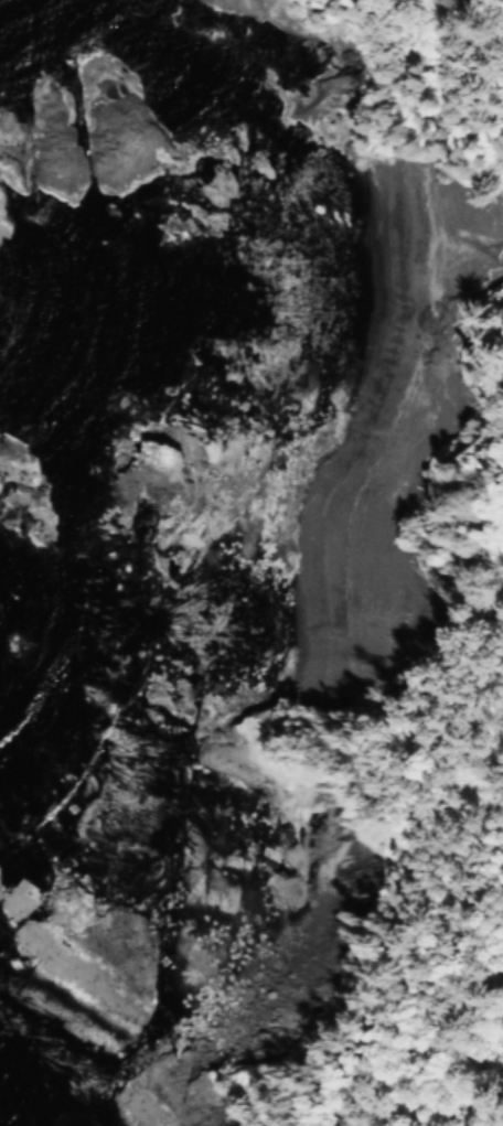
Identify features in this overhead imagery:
building: (501, 431)
road: (458, 926)

